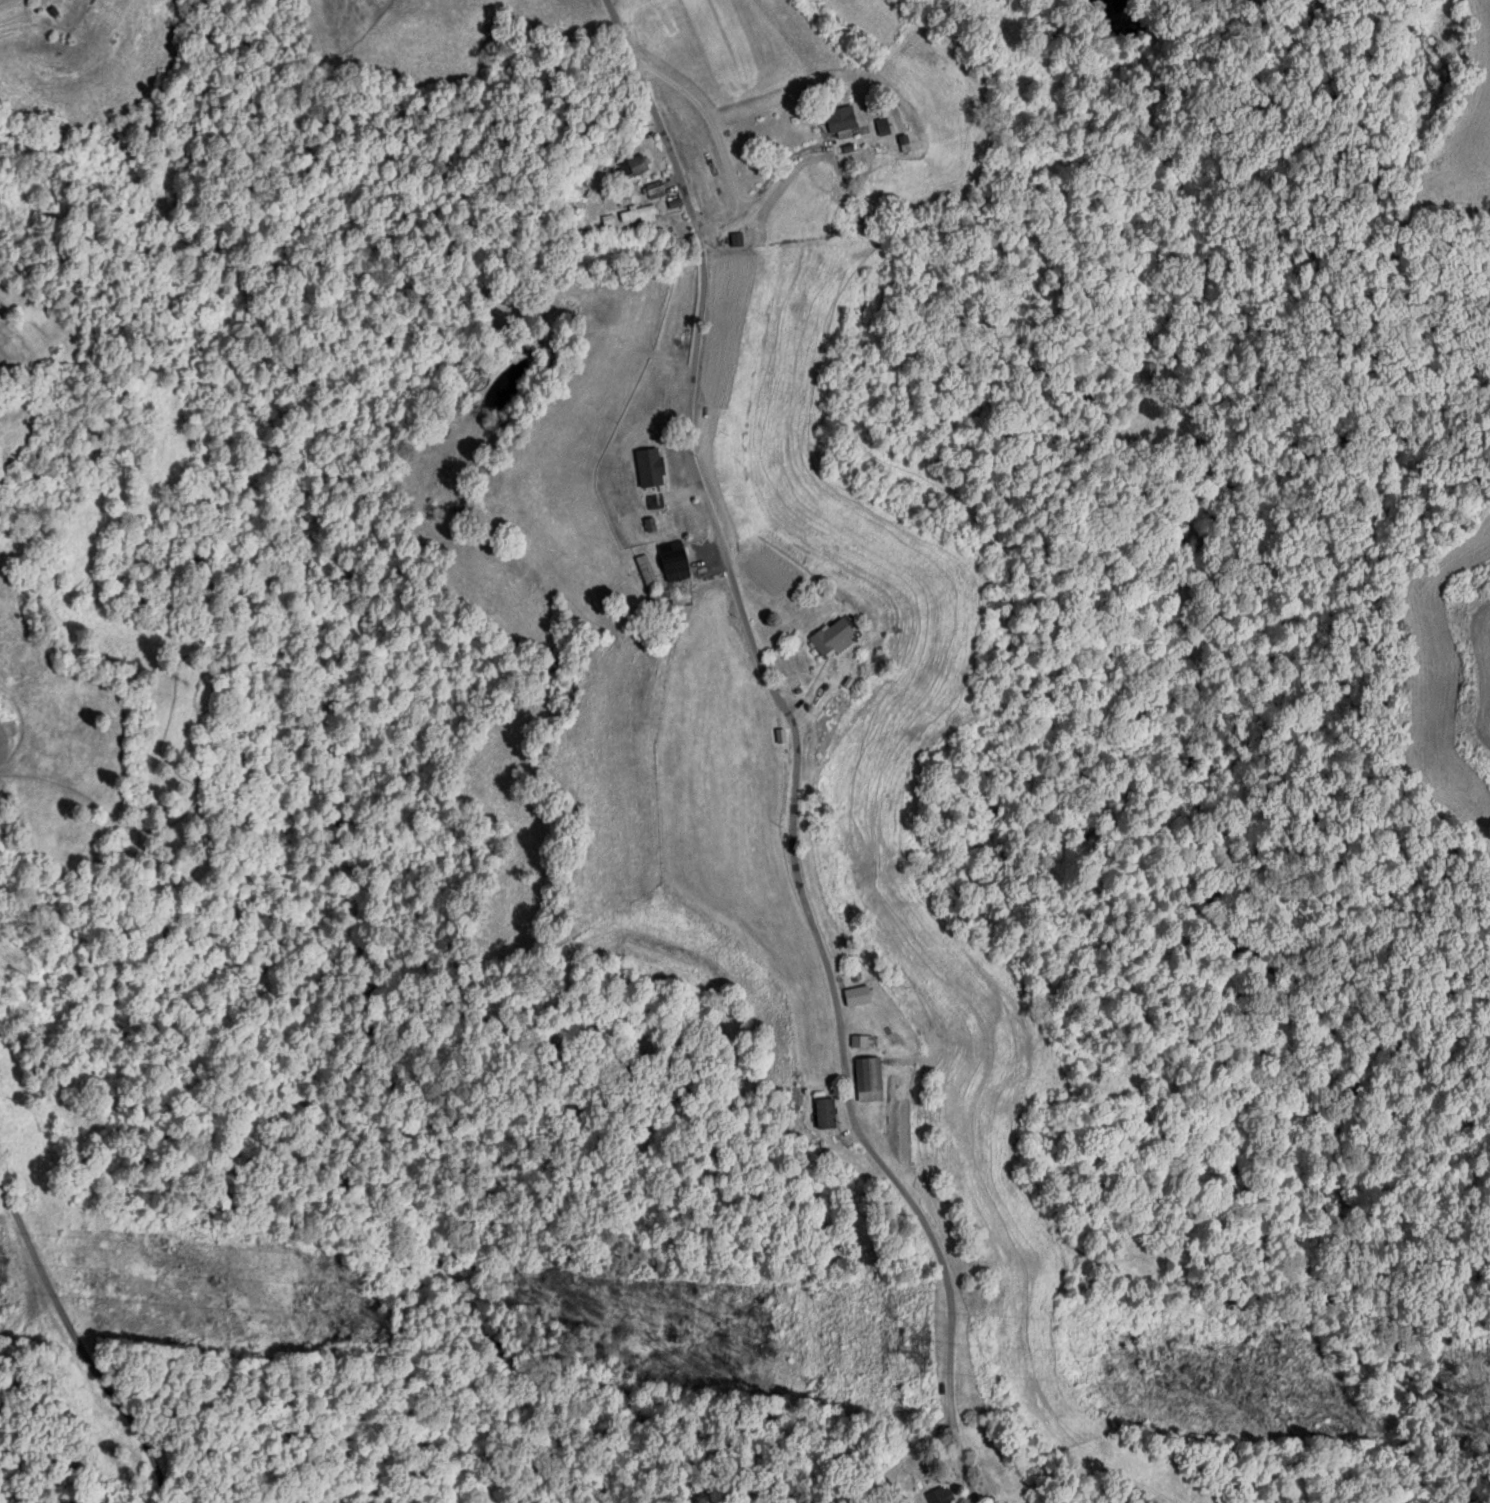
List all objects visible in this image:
building: (840, 118)
building: (636, 165)
building: (655, 189)
building: (638, 212)
building: (1157, 372)
building: (673, 561)
building: (647, 571)
road: (734, 586)
building: (832, 636)
building: (862, 1040)
building: (868, 1079)
building: (824, 1113)
road: (951, 1289)
power tower: (921, 1345)
road: (84, 1346)
building: (940, 1494)

